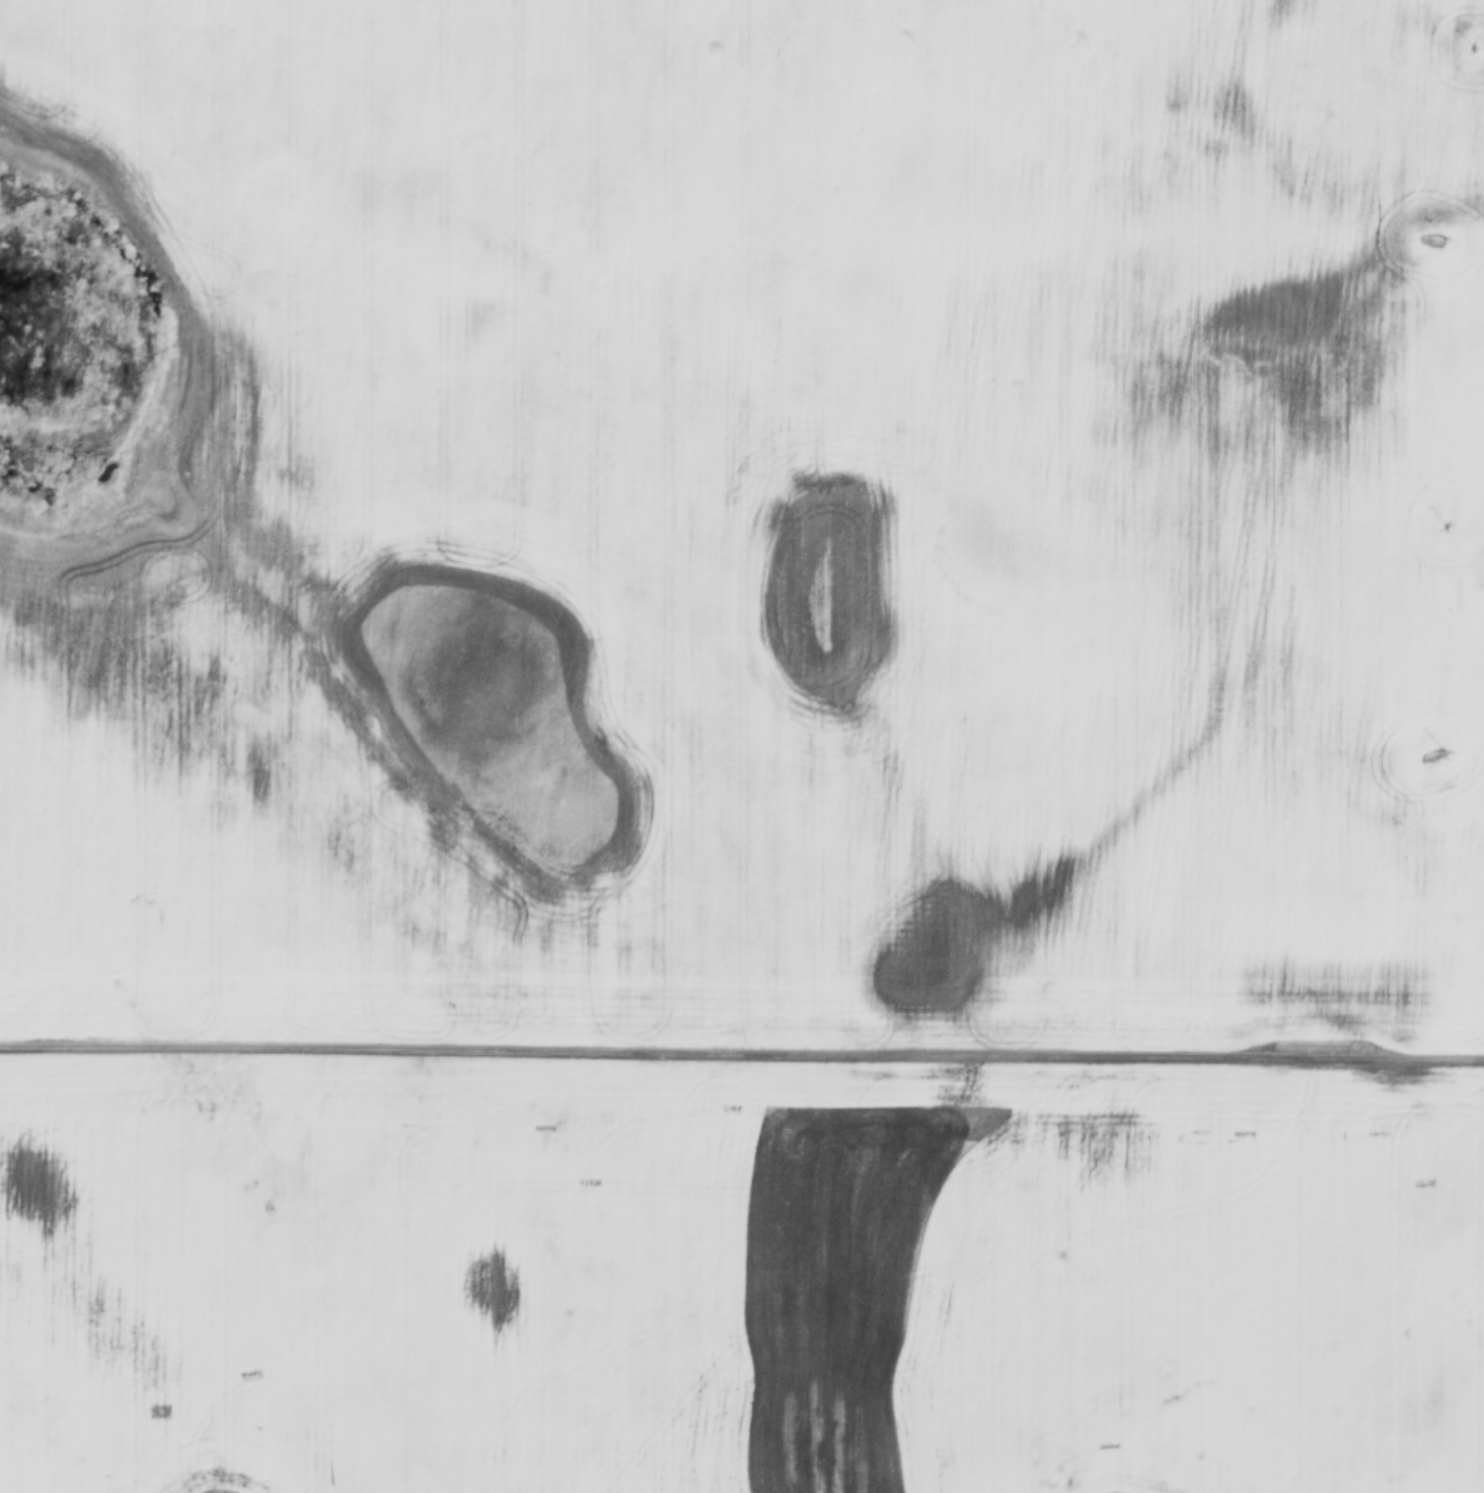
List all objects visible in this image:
road: (741, 1049)

